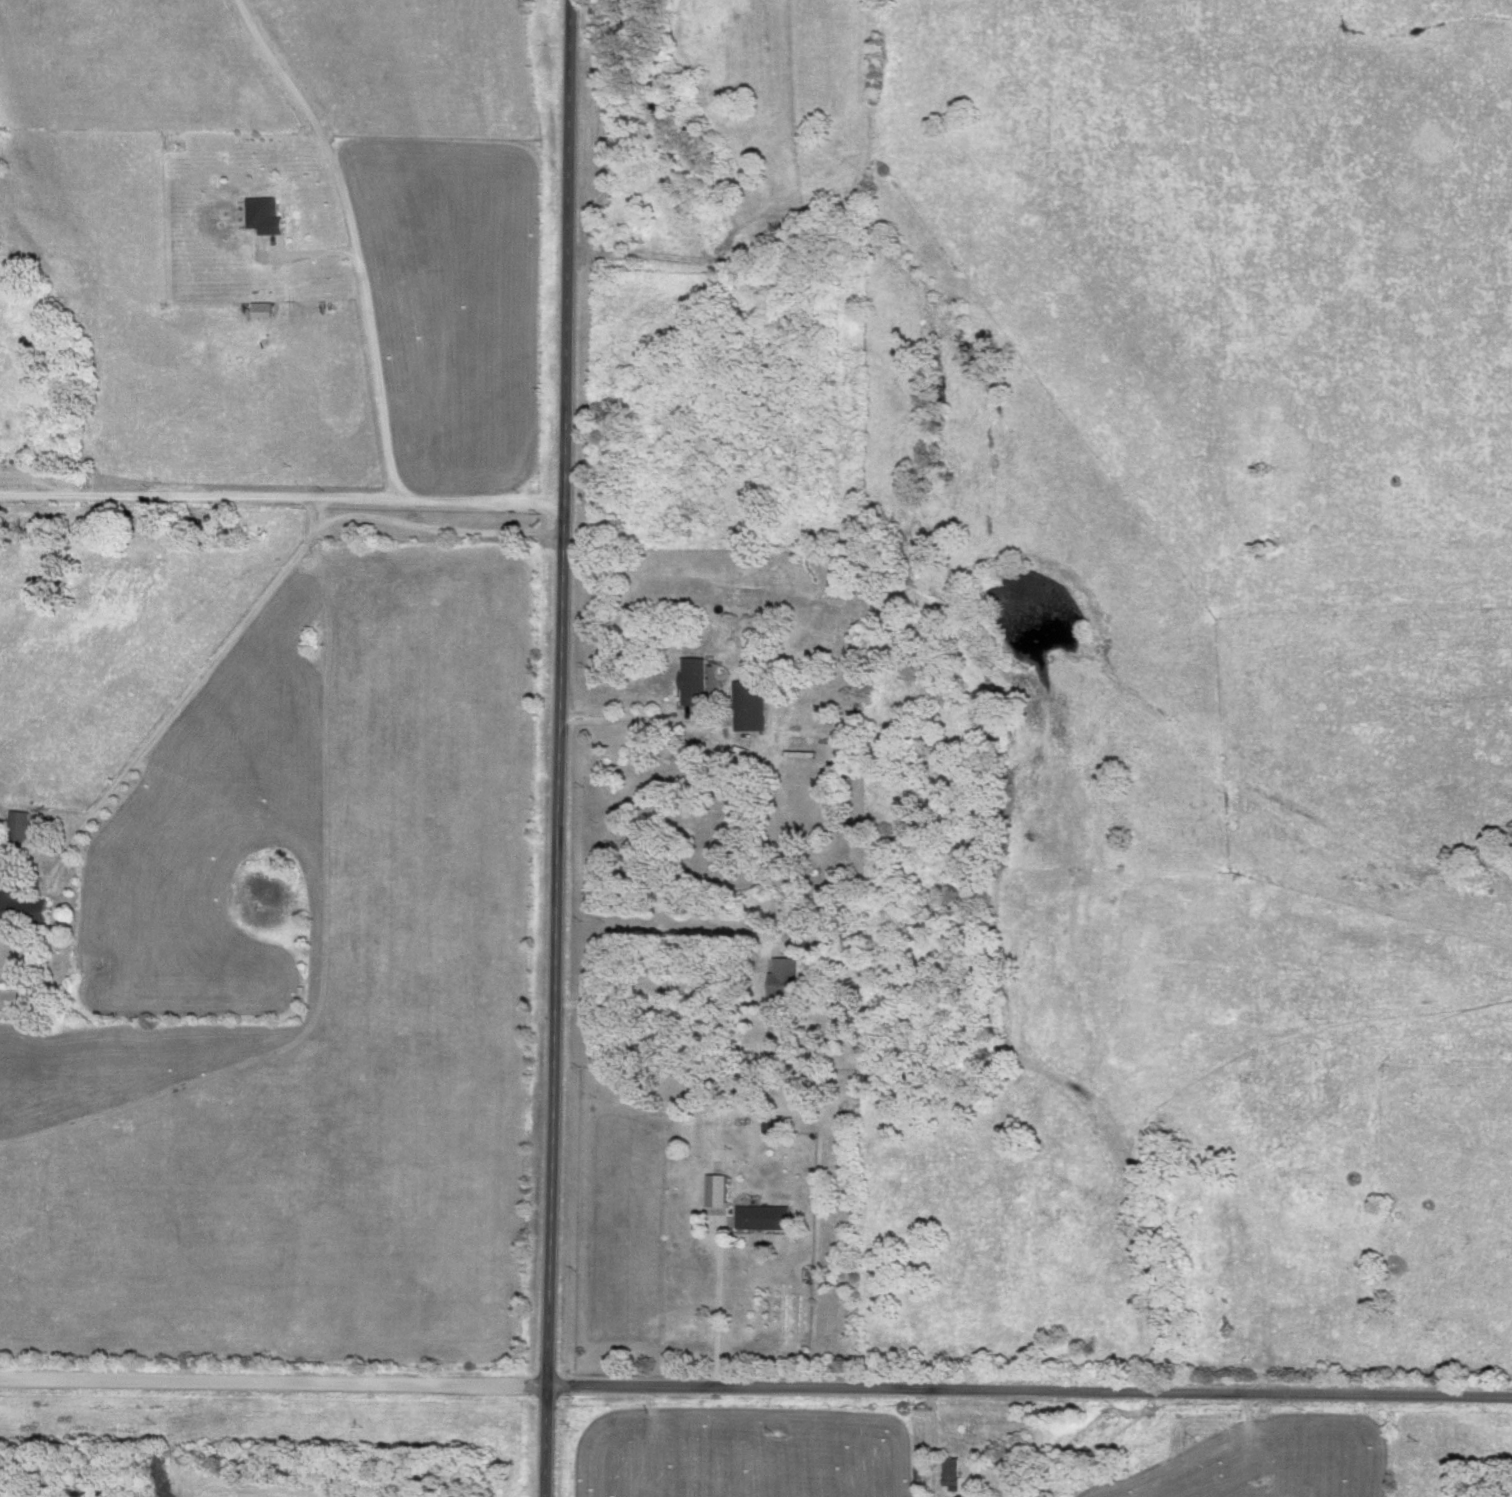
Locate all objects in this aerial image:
building: (259, 217)
road: (348, 240)
road: (200, 497)
road: (481, 504)
road: (411, 518)
road: (261, 598)
building: (688, 683)
building: (745, 707)
road: (619, 718)
road: (555, 748)
building: (16, 829)
building: (778, 972)
road: (640, 979)
building: (759, 1219)
road: (714, 1320)
road: (756, 1389)
building: (948, 1475)
building: (917, 1483)

